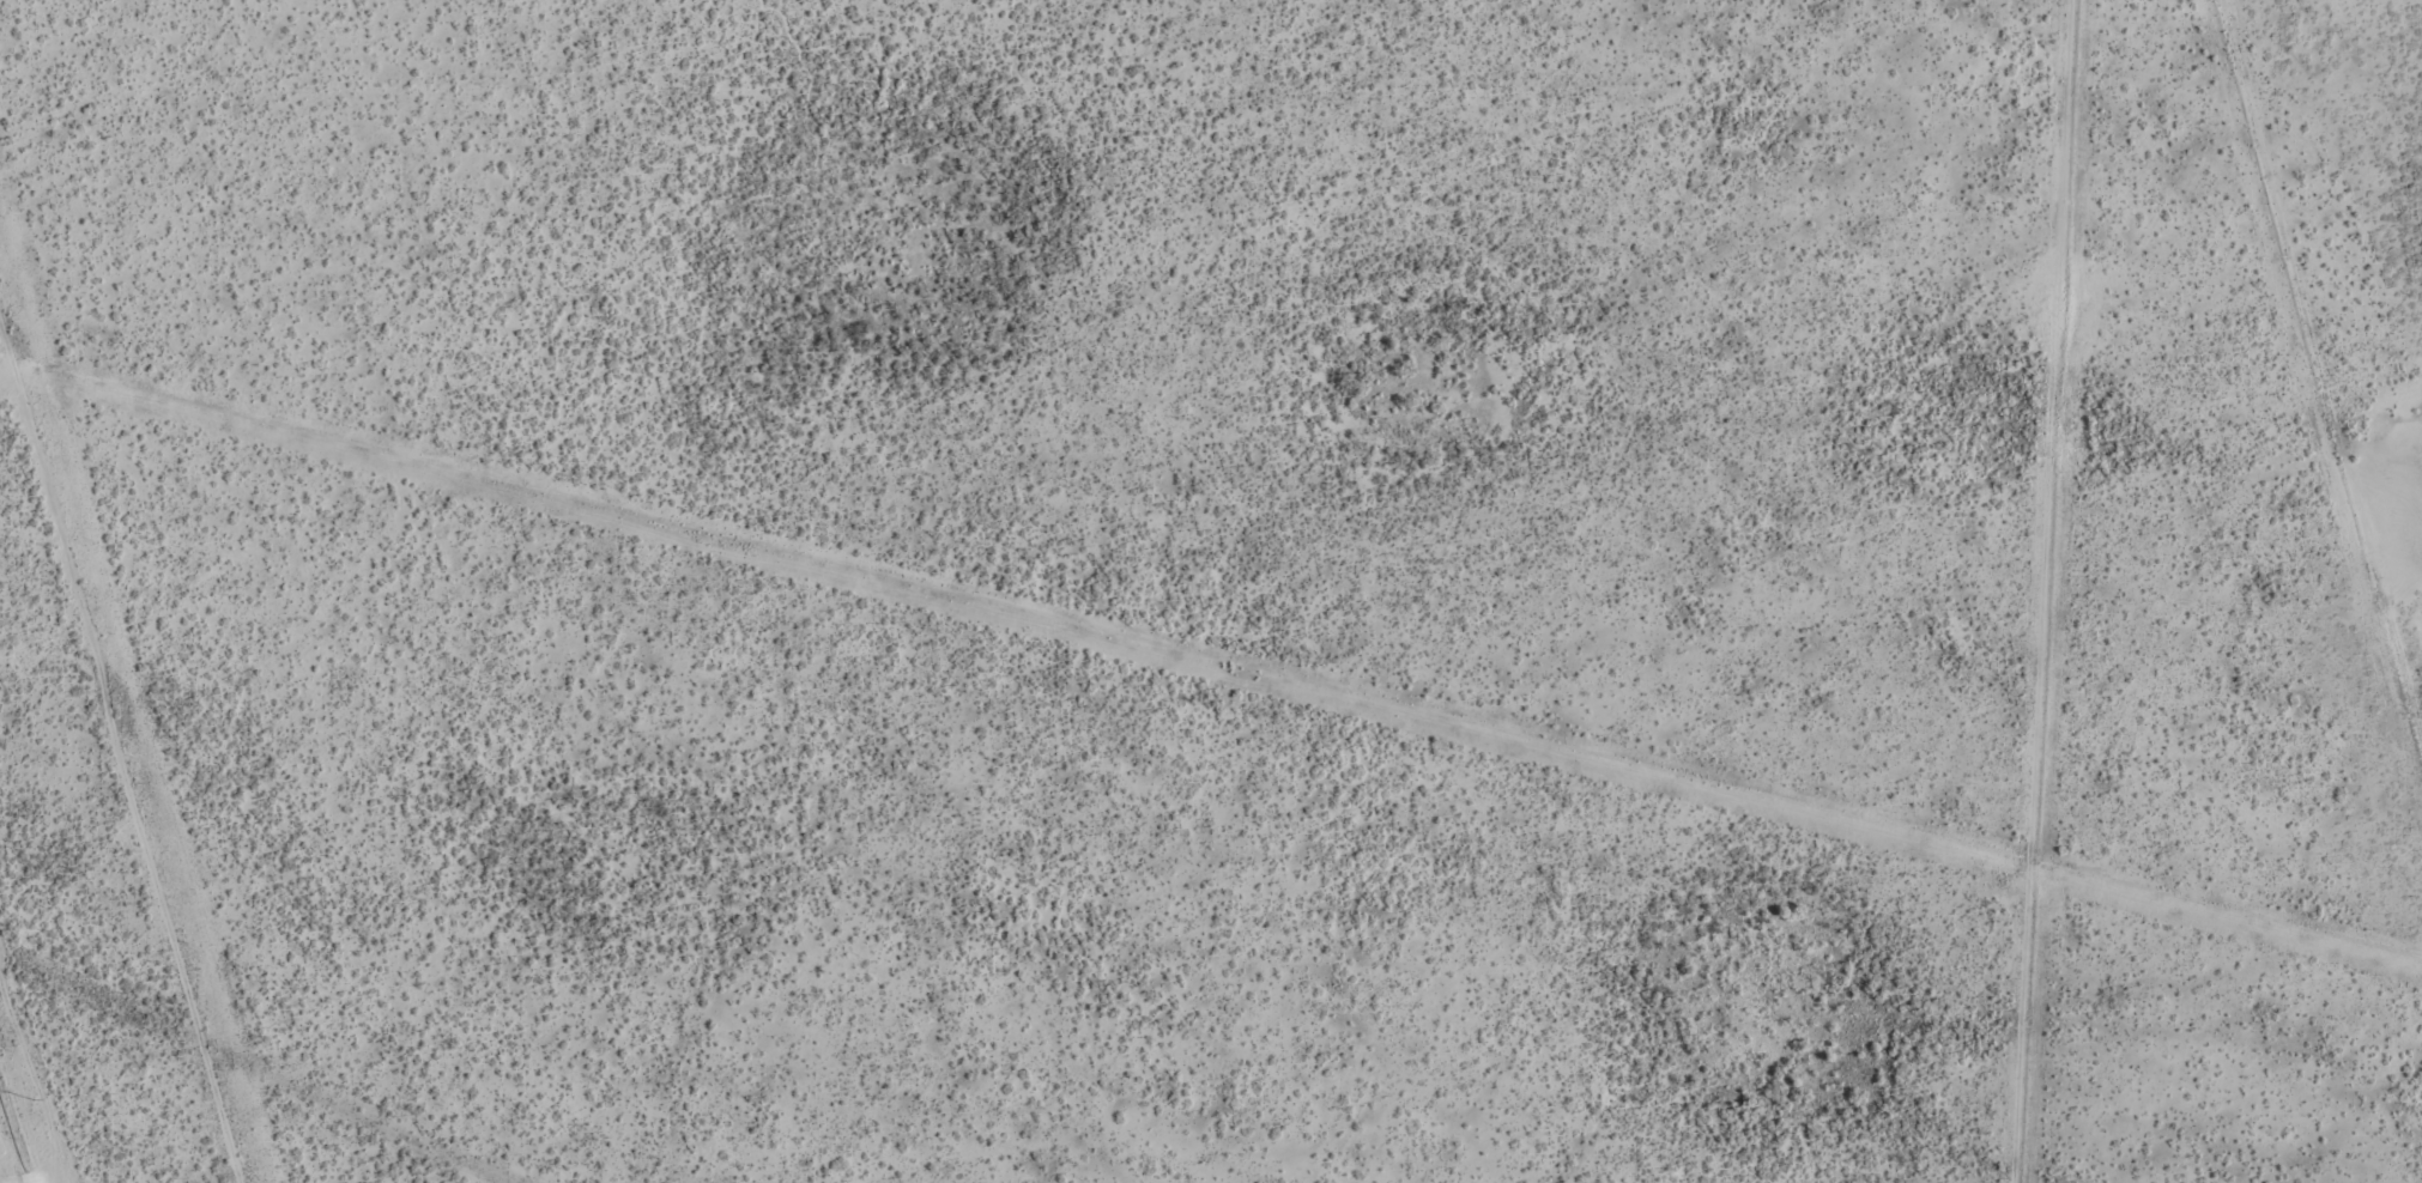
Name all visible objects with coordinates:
road: (256, 1070)
power tower: (31, 1099)

